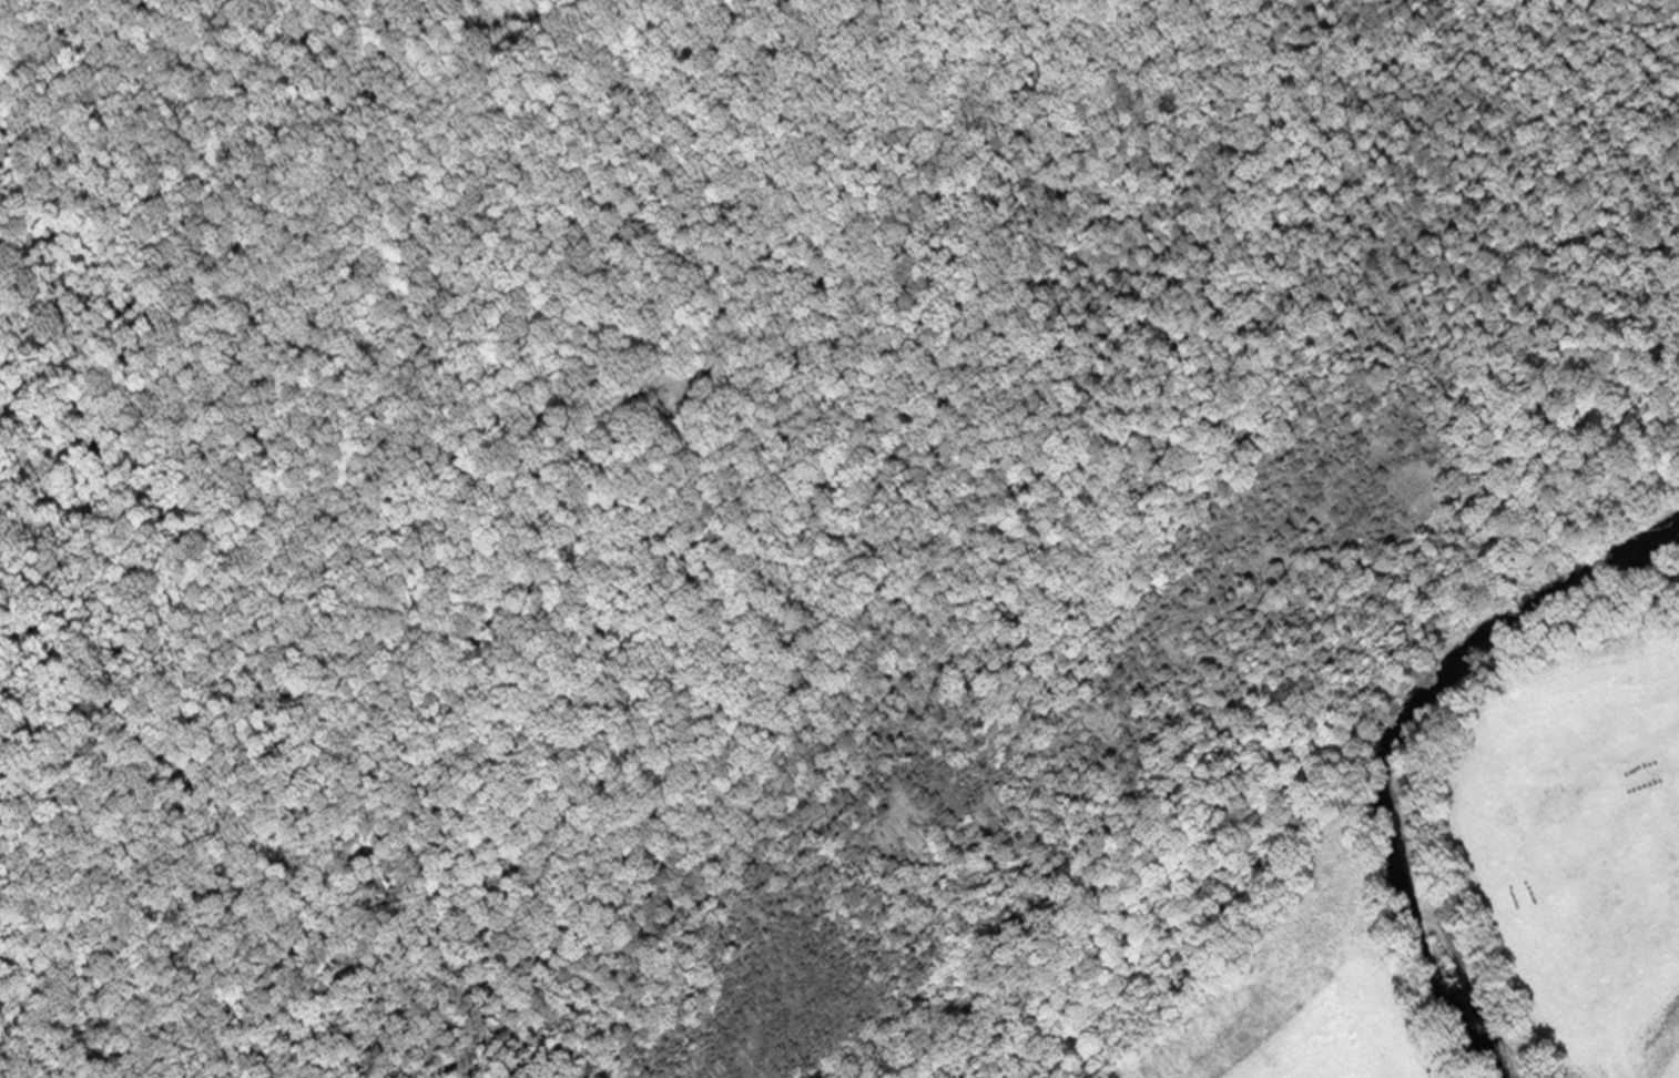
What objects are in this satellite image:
river: (1413, 750)

